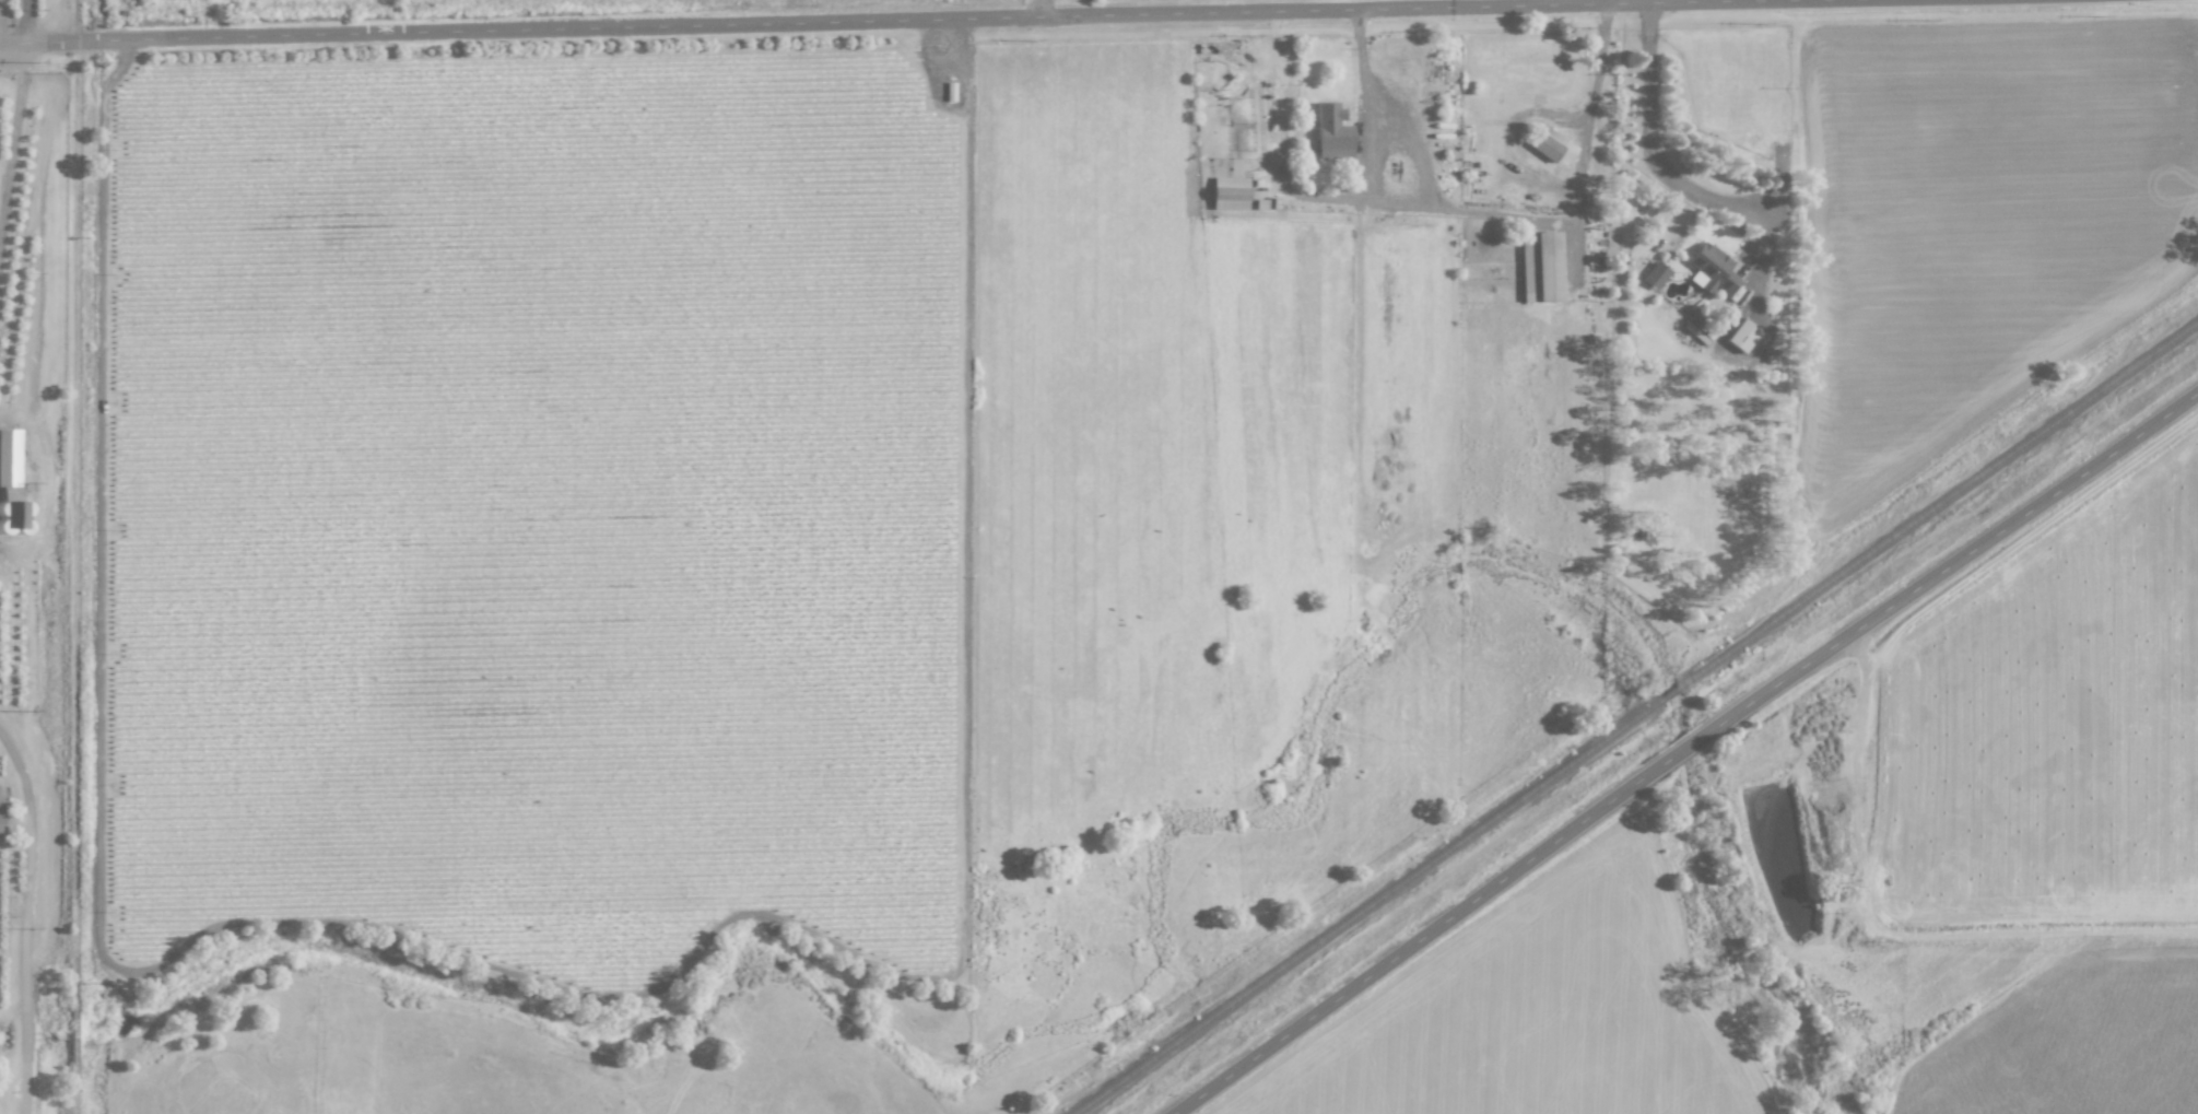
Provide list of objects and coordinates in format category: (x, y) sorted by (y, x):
road: (1038, 8)
road: (877, 19)
road: (28, 21)
road: (1361, 65)
road: (1596, 68)
building: (1332, 132)
road: (13, 144)
building: (1547, 144)
road: (1656, 160)
building: (1229, 192)
building: (1539, 267)
building: (1709, 268)
building: (1742, 335)
building: (9, 457)
railway: (1636, 718)
road: (1683, 749)
road: (25, 919)

